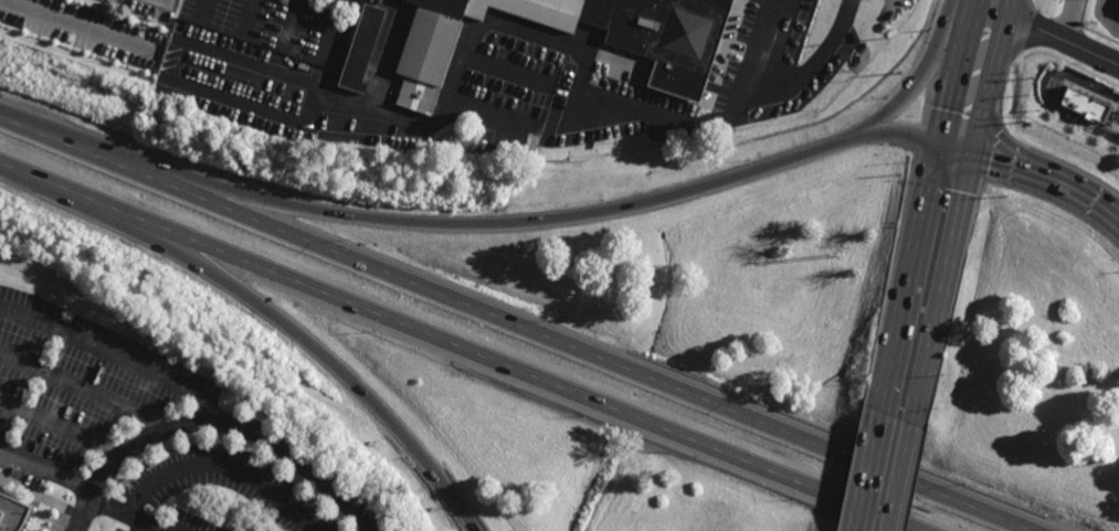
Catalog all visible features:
road: (166, 2)
road: (992, 4)
road: (209, 9)
road: (251, 15)
road: (1106, 15)
road: (1069, 21)
road: (294, 22)
road: (332, 30)
road: (1054, 36)
road: (782, 45)
power tower: (884, 45)
building: (360, 50)
building: (673, 53)
road: (387, 62)
road: (262, 66)
road: (587, 66)
road: (974, 76)
road: (923, 82)
road: (1046, 91)
road: (244, 105)
building: (1084, 106)
road: (899, 130)
traffic signals: (956, 141)
road: (1041, 164)
road: (420, 223)
power tower: (827, 262)
road: (926, 278)
road: (267, 310)
road: (516, 323)
road: (455, 347)
road: (115, 359)
road: (85, 390)
road: (221, 422)
road: (60, 431)
road: (220, 463)
road: (47, 471)
road: (884, 472)
parking lot: (235, 484)
building: (12, 514)
road: (126, 516)
parking lot: (204, 518)
parking lot: (124, 528)
road: (142, 528)

